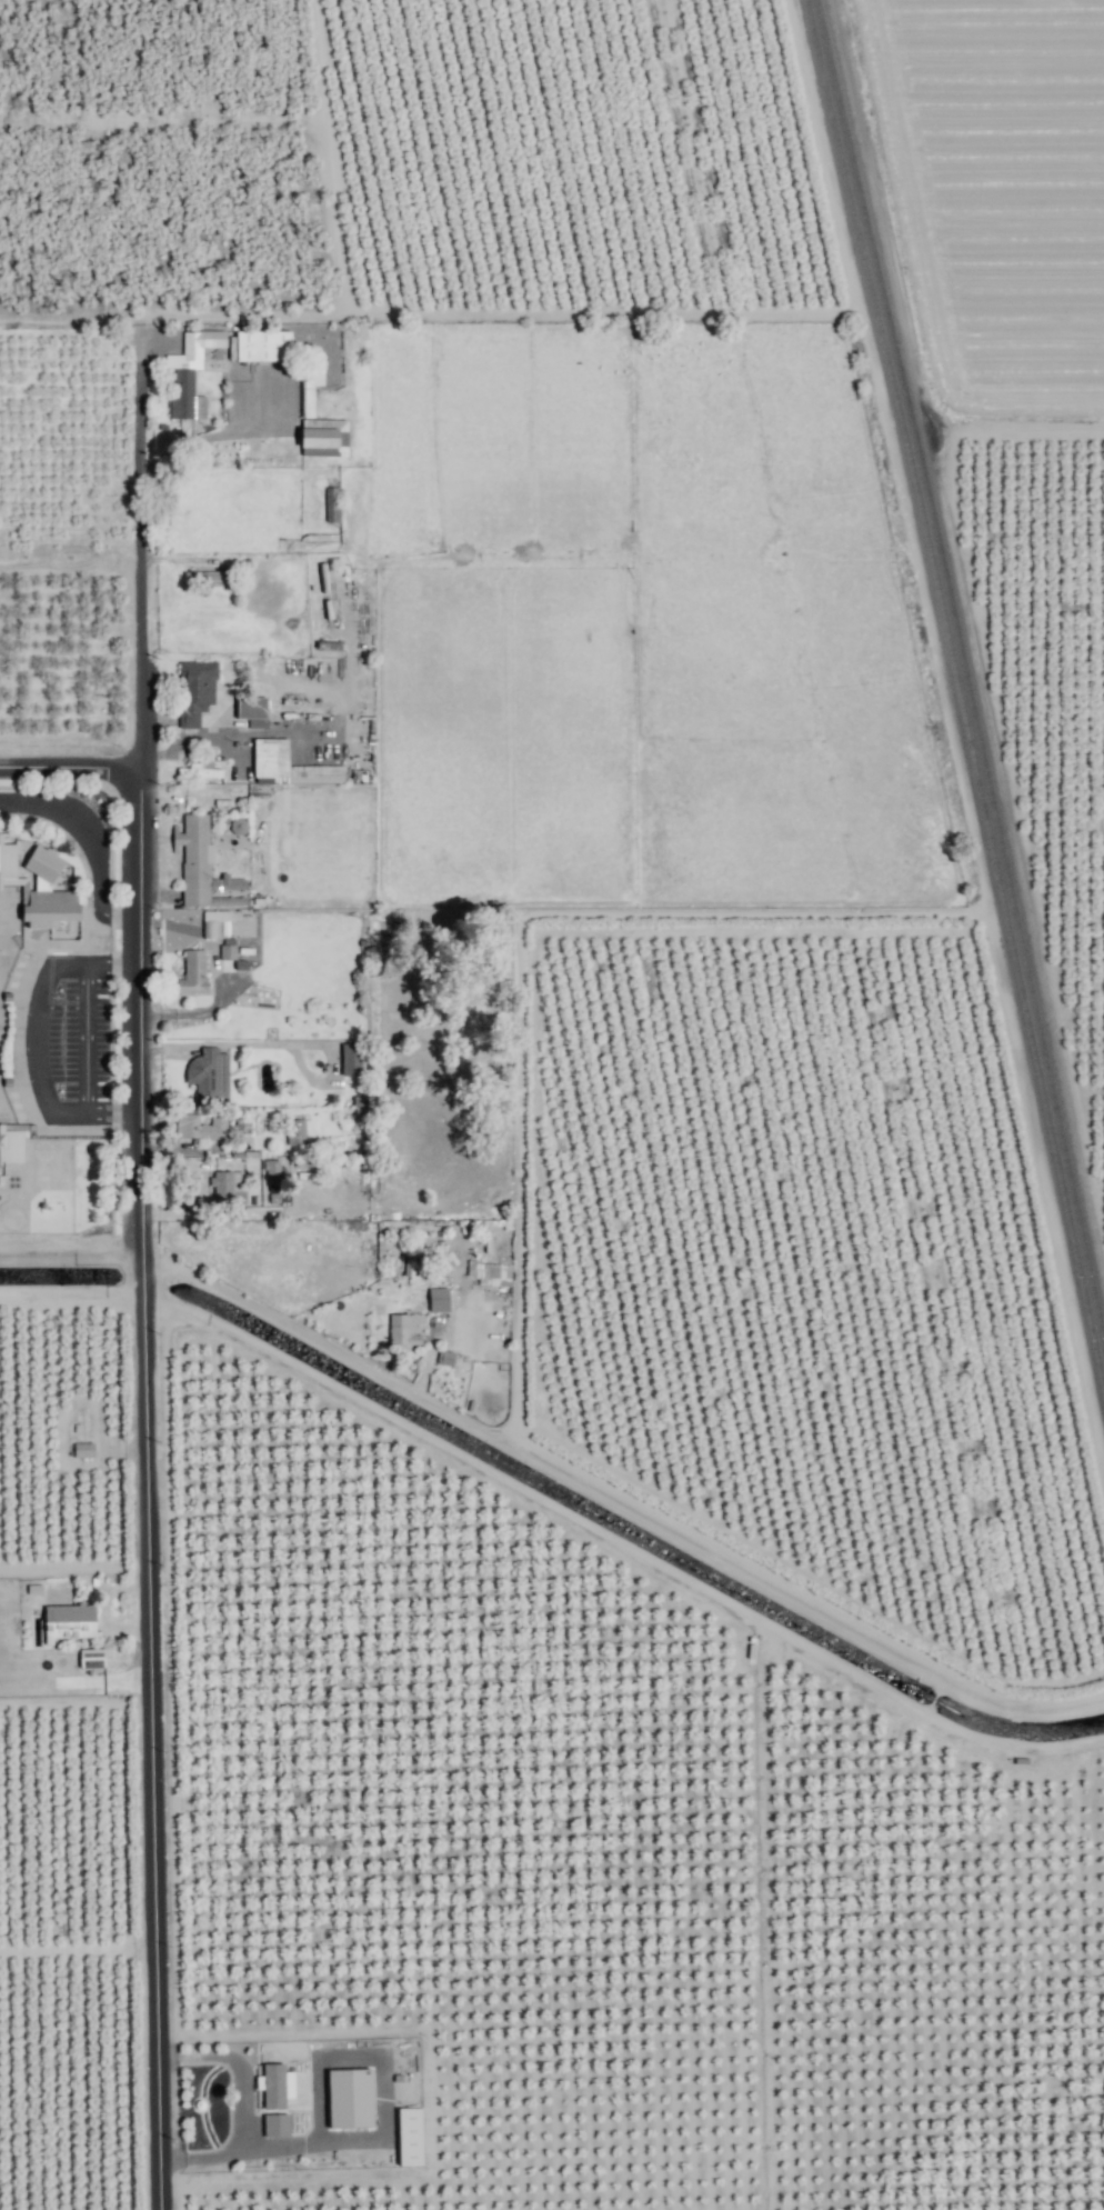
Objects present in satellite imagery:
building: (262, 346)
building: (190, 372)
building: (311, 387)
building: (323, 437)
building: (331, 504)
building: (212, 576)
railway: (964, 670)
building: (195, 691)
railway: (959, 696)
building: (252, 710)
road: (233, 734)
road: (69, 757)
building: (288, 766)
building: (199, 770)
road: (89, 841)
building: (200, 862)
building: (37, 881)
building: (213, 922)
building: (228, 948)
building: (192, 973)
road: (34, 1038)
road: (87, 1038)
road: (230, 1043)
building: (351, 1059)
building: (209, 1074)
building: (200, 1127)
building: (295, 1131)
building: (12, 1139)
building: (272, 1178)
building: (228, 1187)
road: (72, 1243)
building: (489, 1271)
road: (147, 1278)
building: (438, 1299)
road: (289, 1328)
building: (402, 1331)
building: (444, 1357)
building: (83, 1449)
building: (69, 1621)
building: (91, 1658)
building: (275, 2084)
building: (350, 2098)
building: (275, 2124)
building: (409, 2137)

